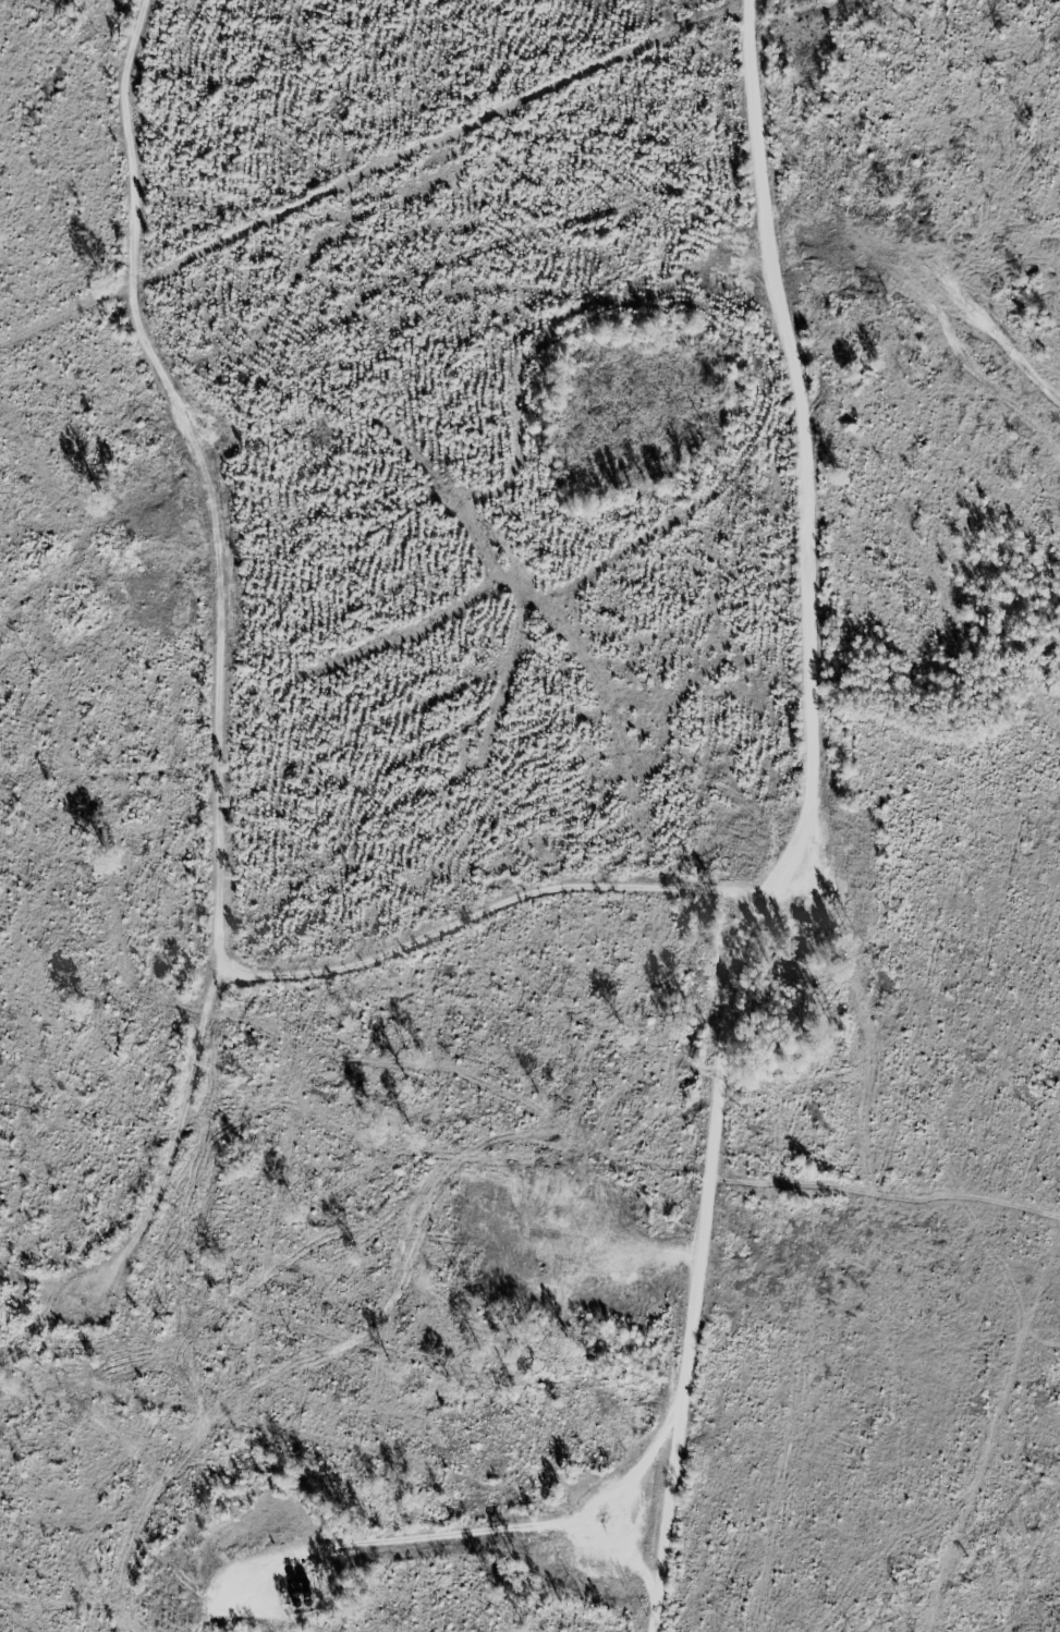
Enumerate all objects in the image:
road: (223, 714)
road: (791, 831)

